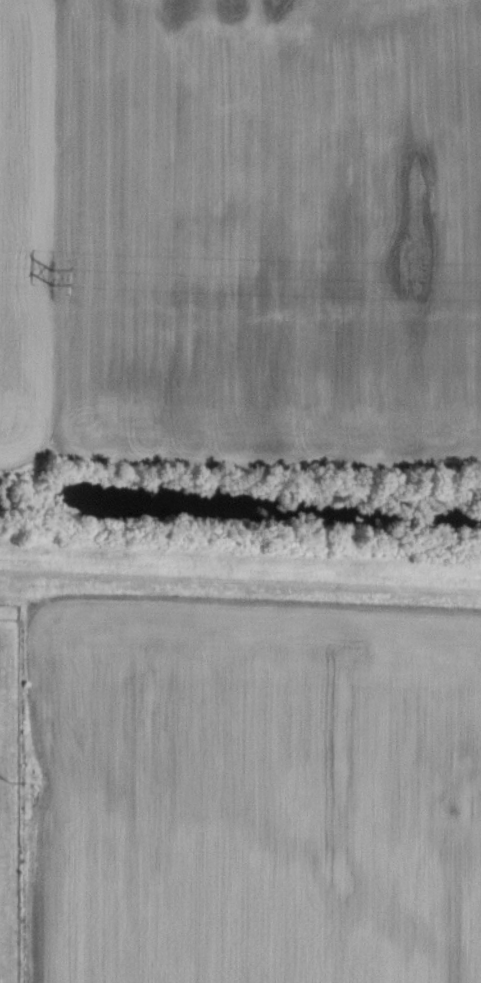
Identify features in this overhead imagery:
power tower: (54, 281)

